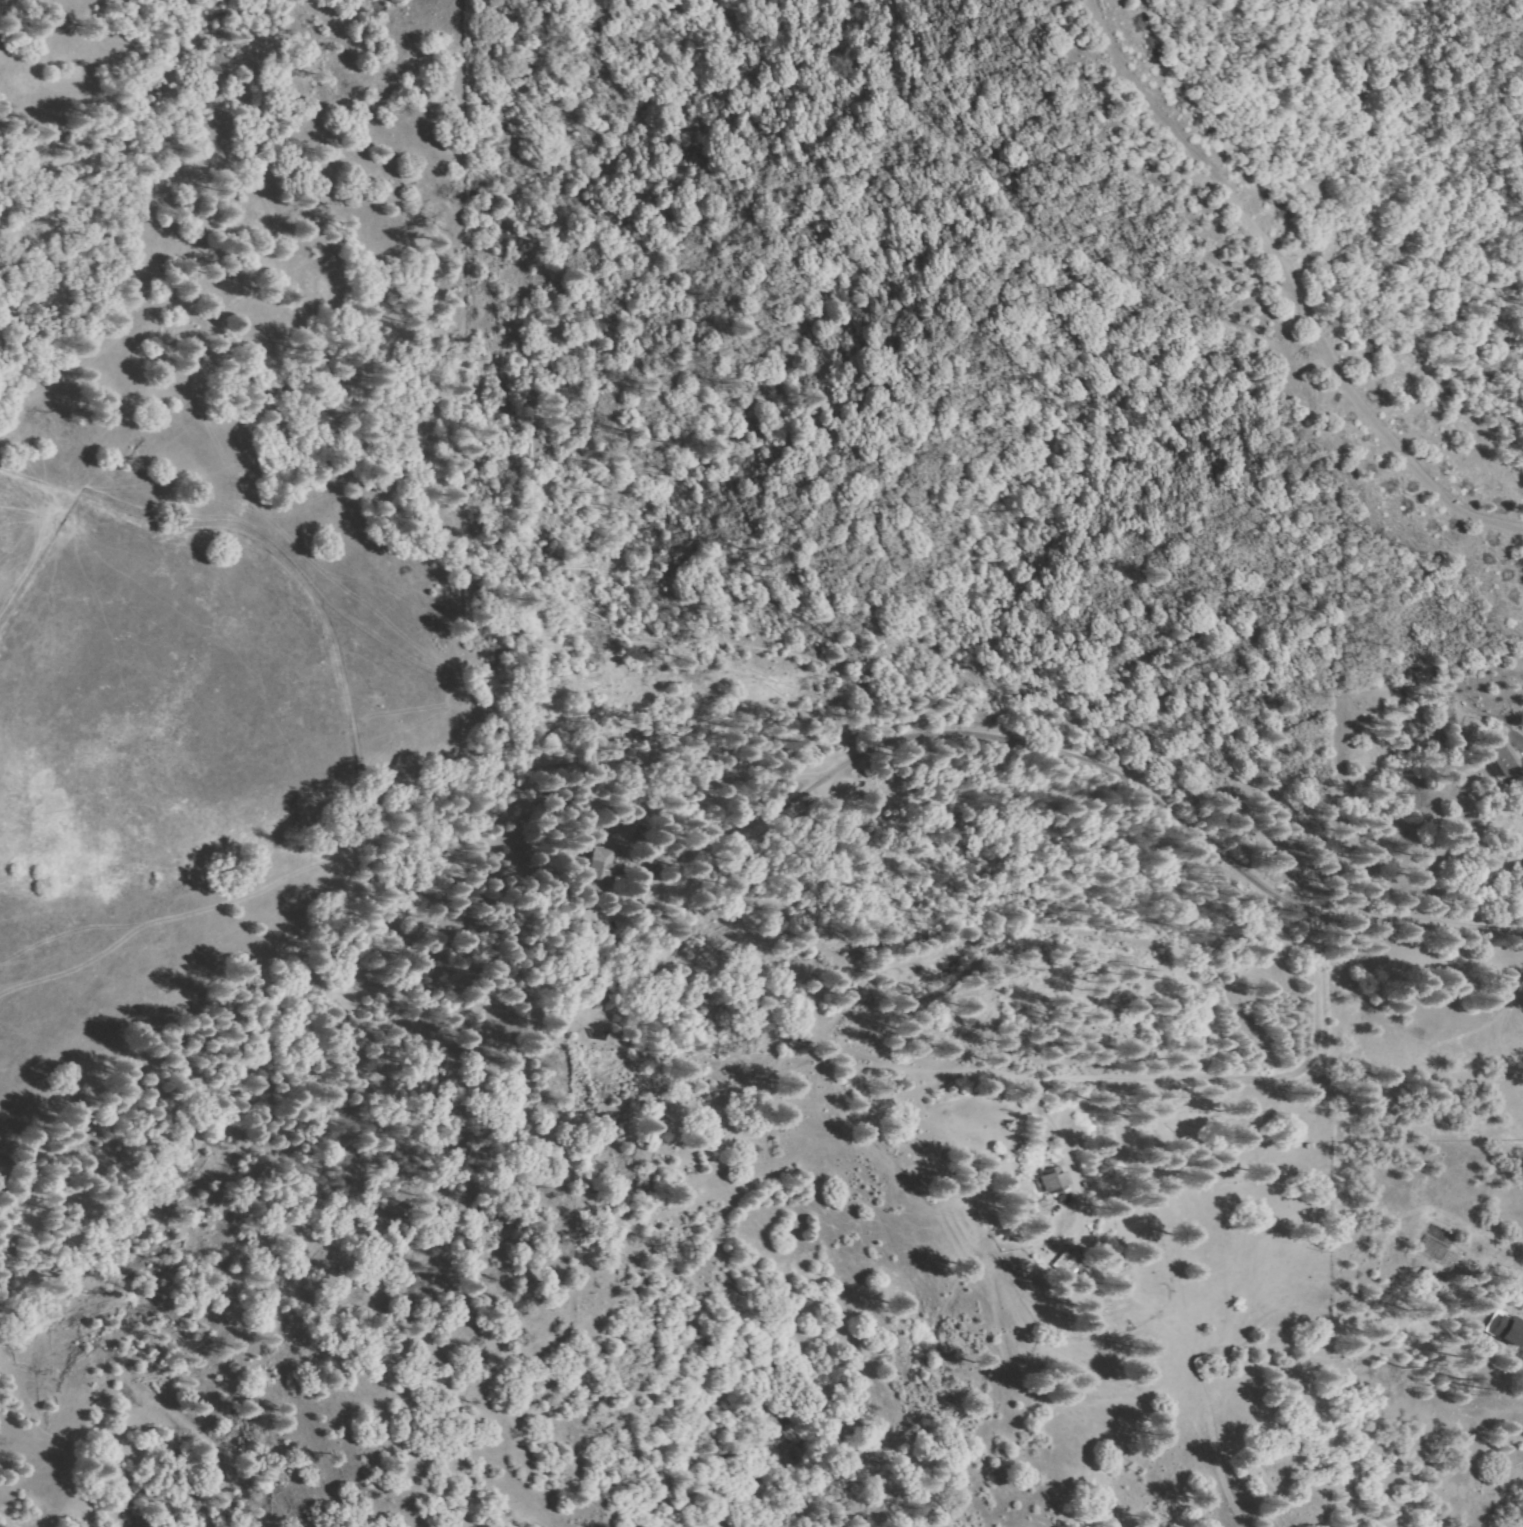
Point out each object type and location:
road: (1051, 238)
road: (1289, 290)
road: (774, 741)
building: (1504, 761)
building: (616, 831)
building: (604, 872)
building: (651, 897)
building: (1057, 1181)
building: (1071, 1265)
building: (1511, 1329)

